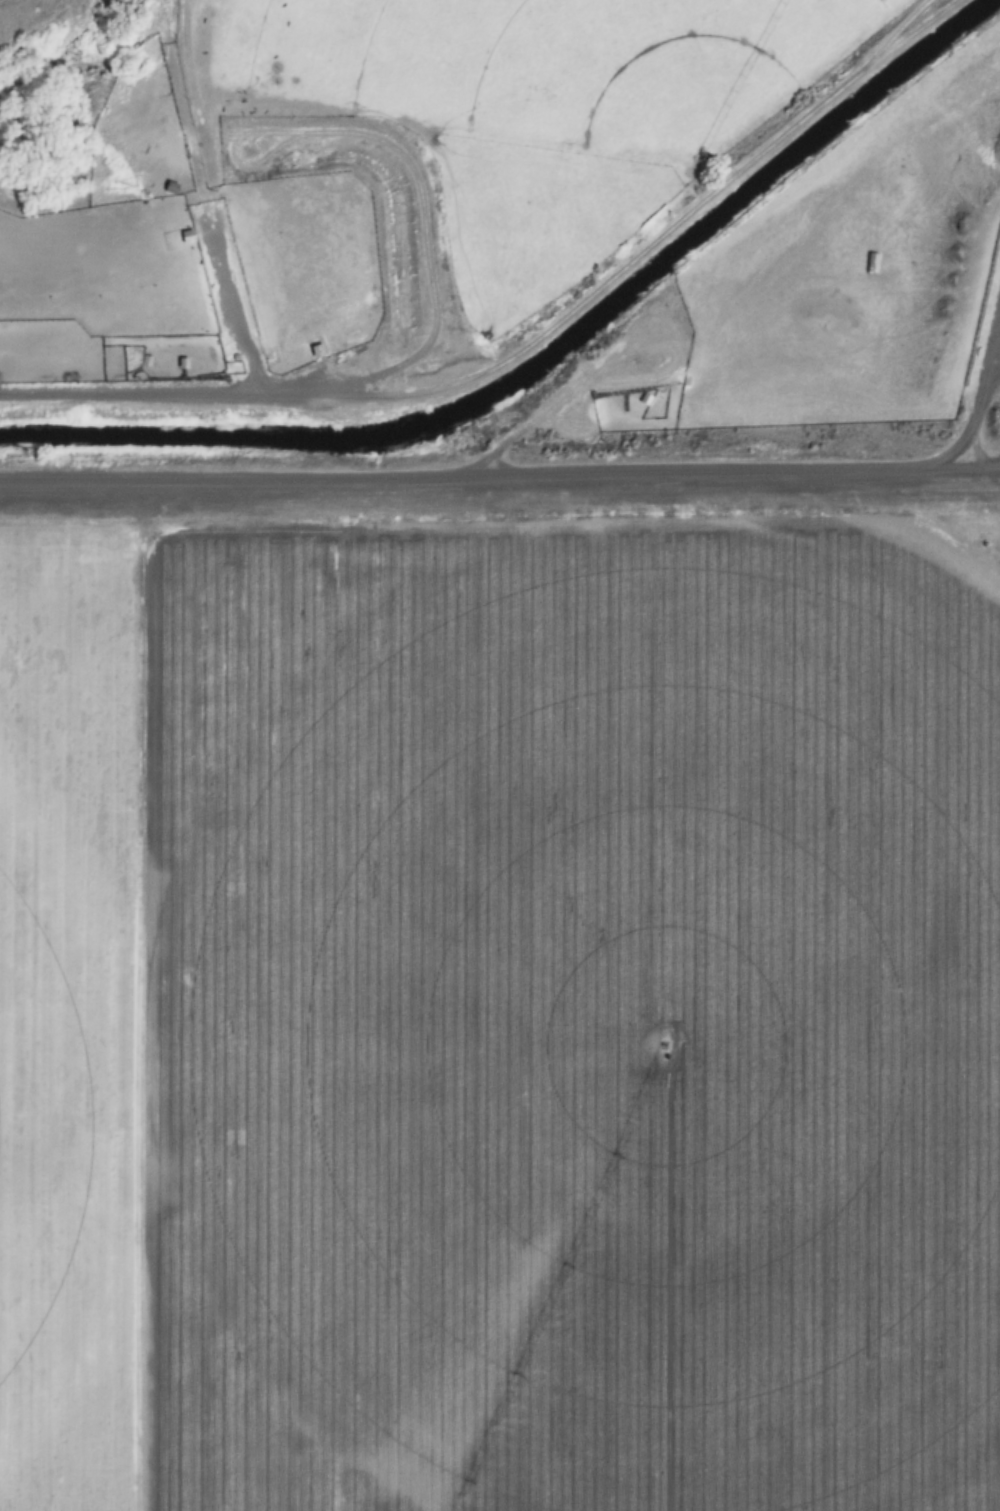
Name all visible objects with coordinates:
building: (871, 264)
building: (682, 1015)

